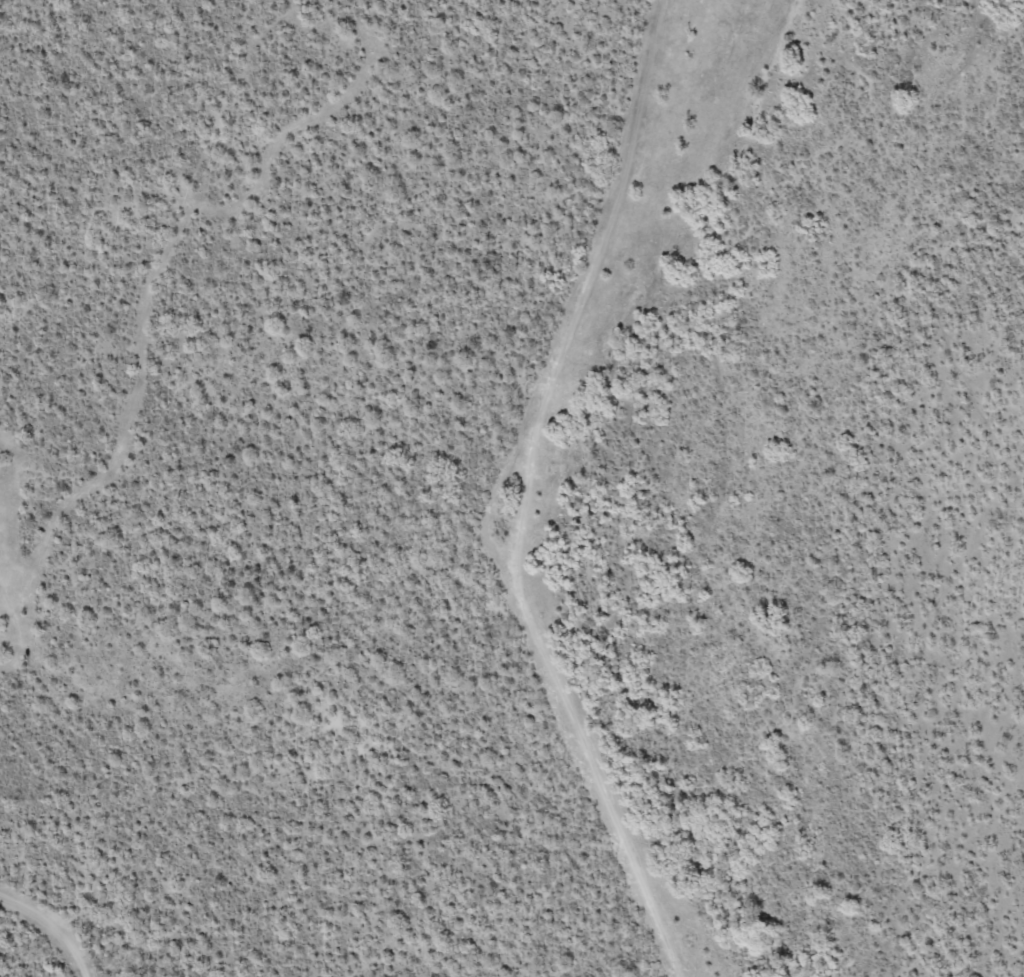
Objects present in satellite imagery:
road: (11, 963)

